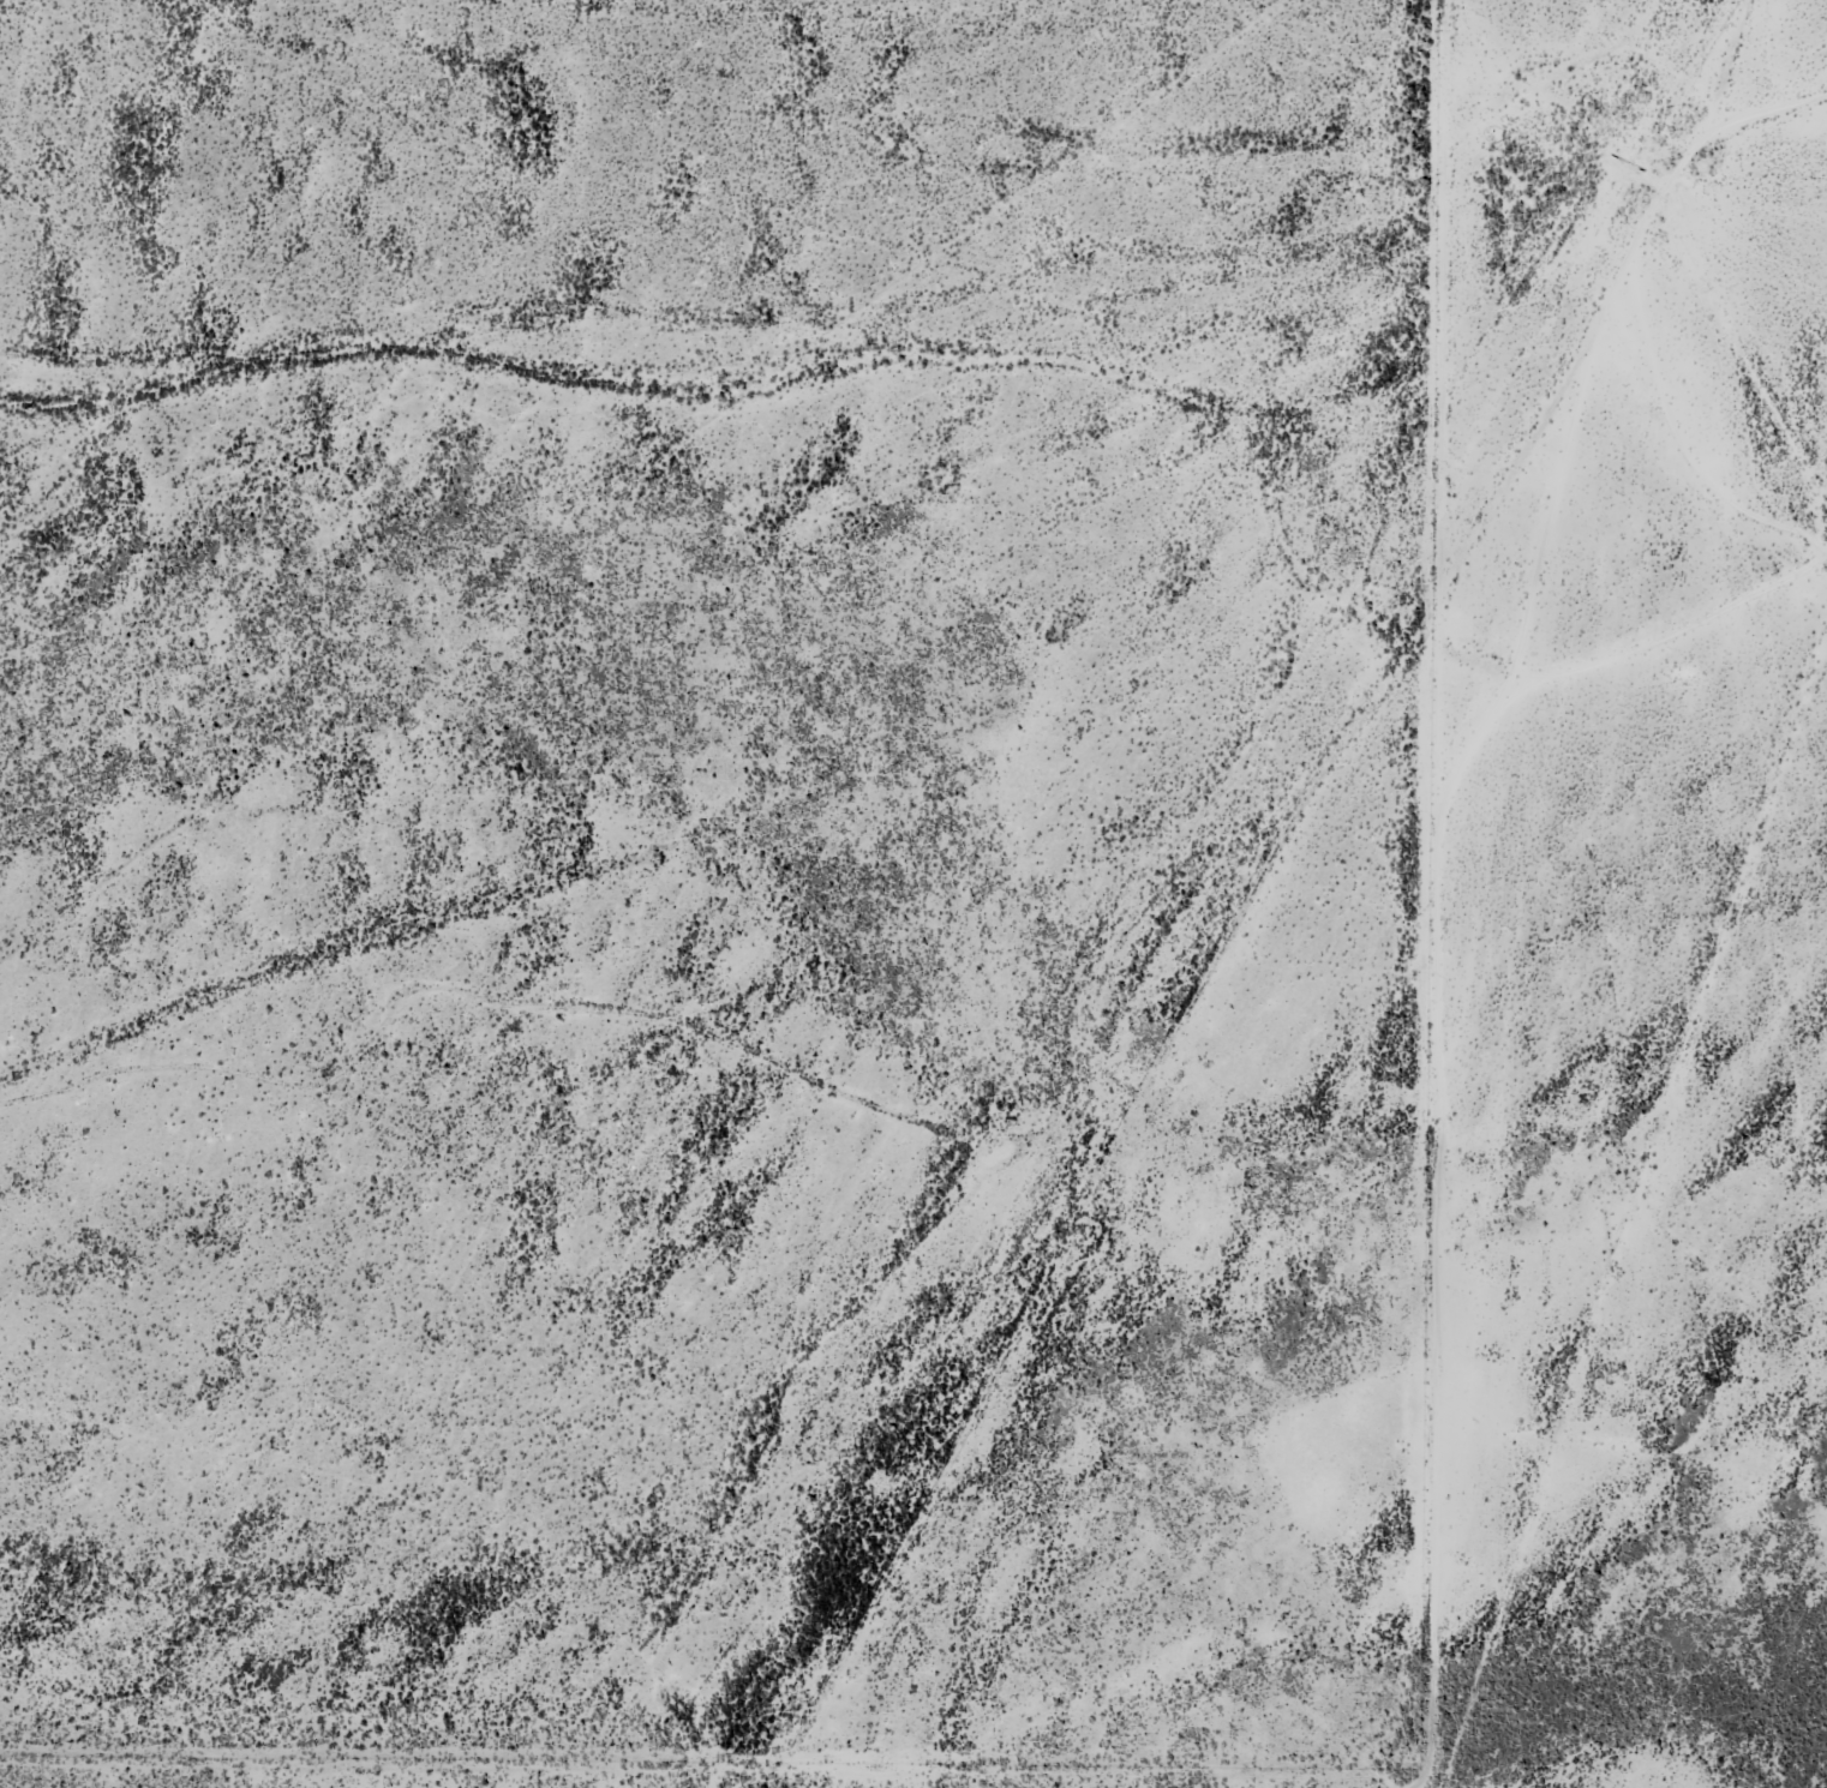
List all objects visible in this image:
road: (923, 325)

